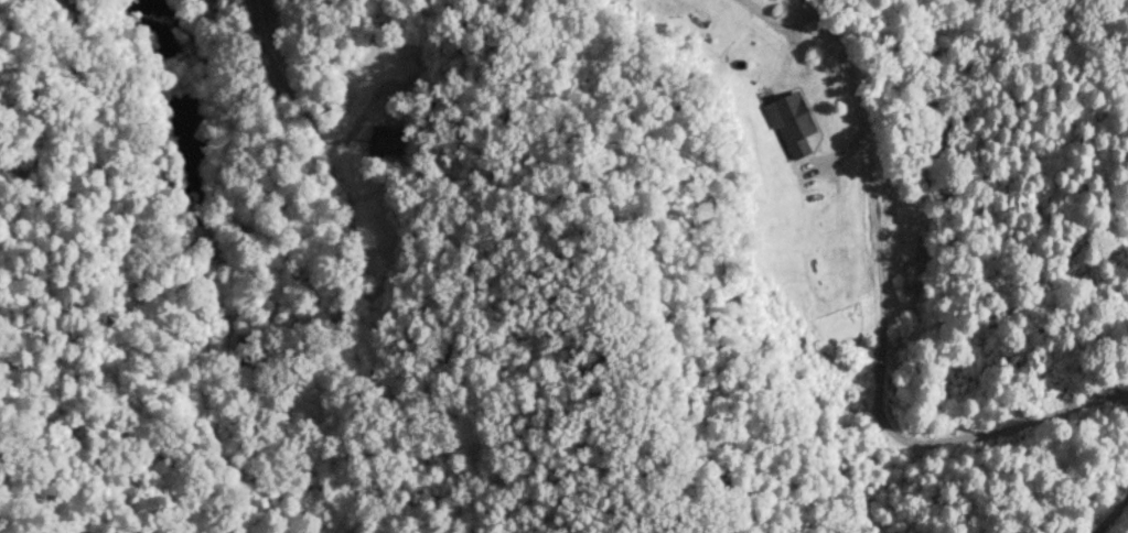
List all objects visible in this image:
road: (284, 76)
building: (789, 124)
building: (384, 142)
road: (877, 326)

